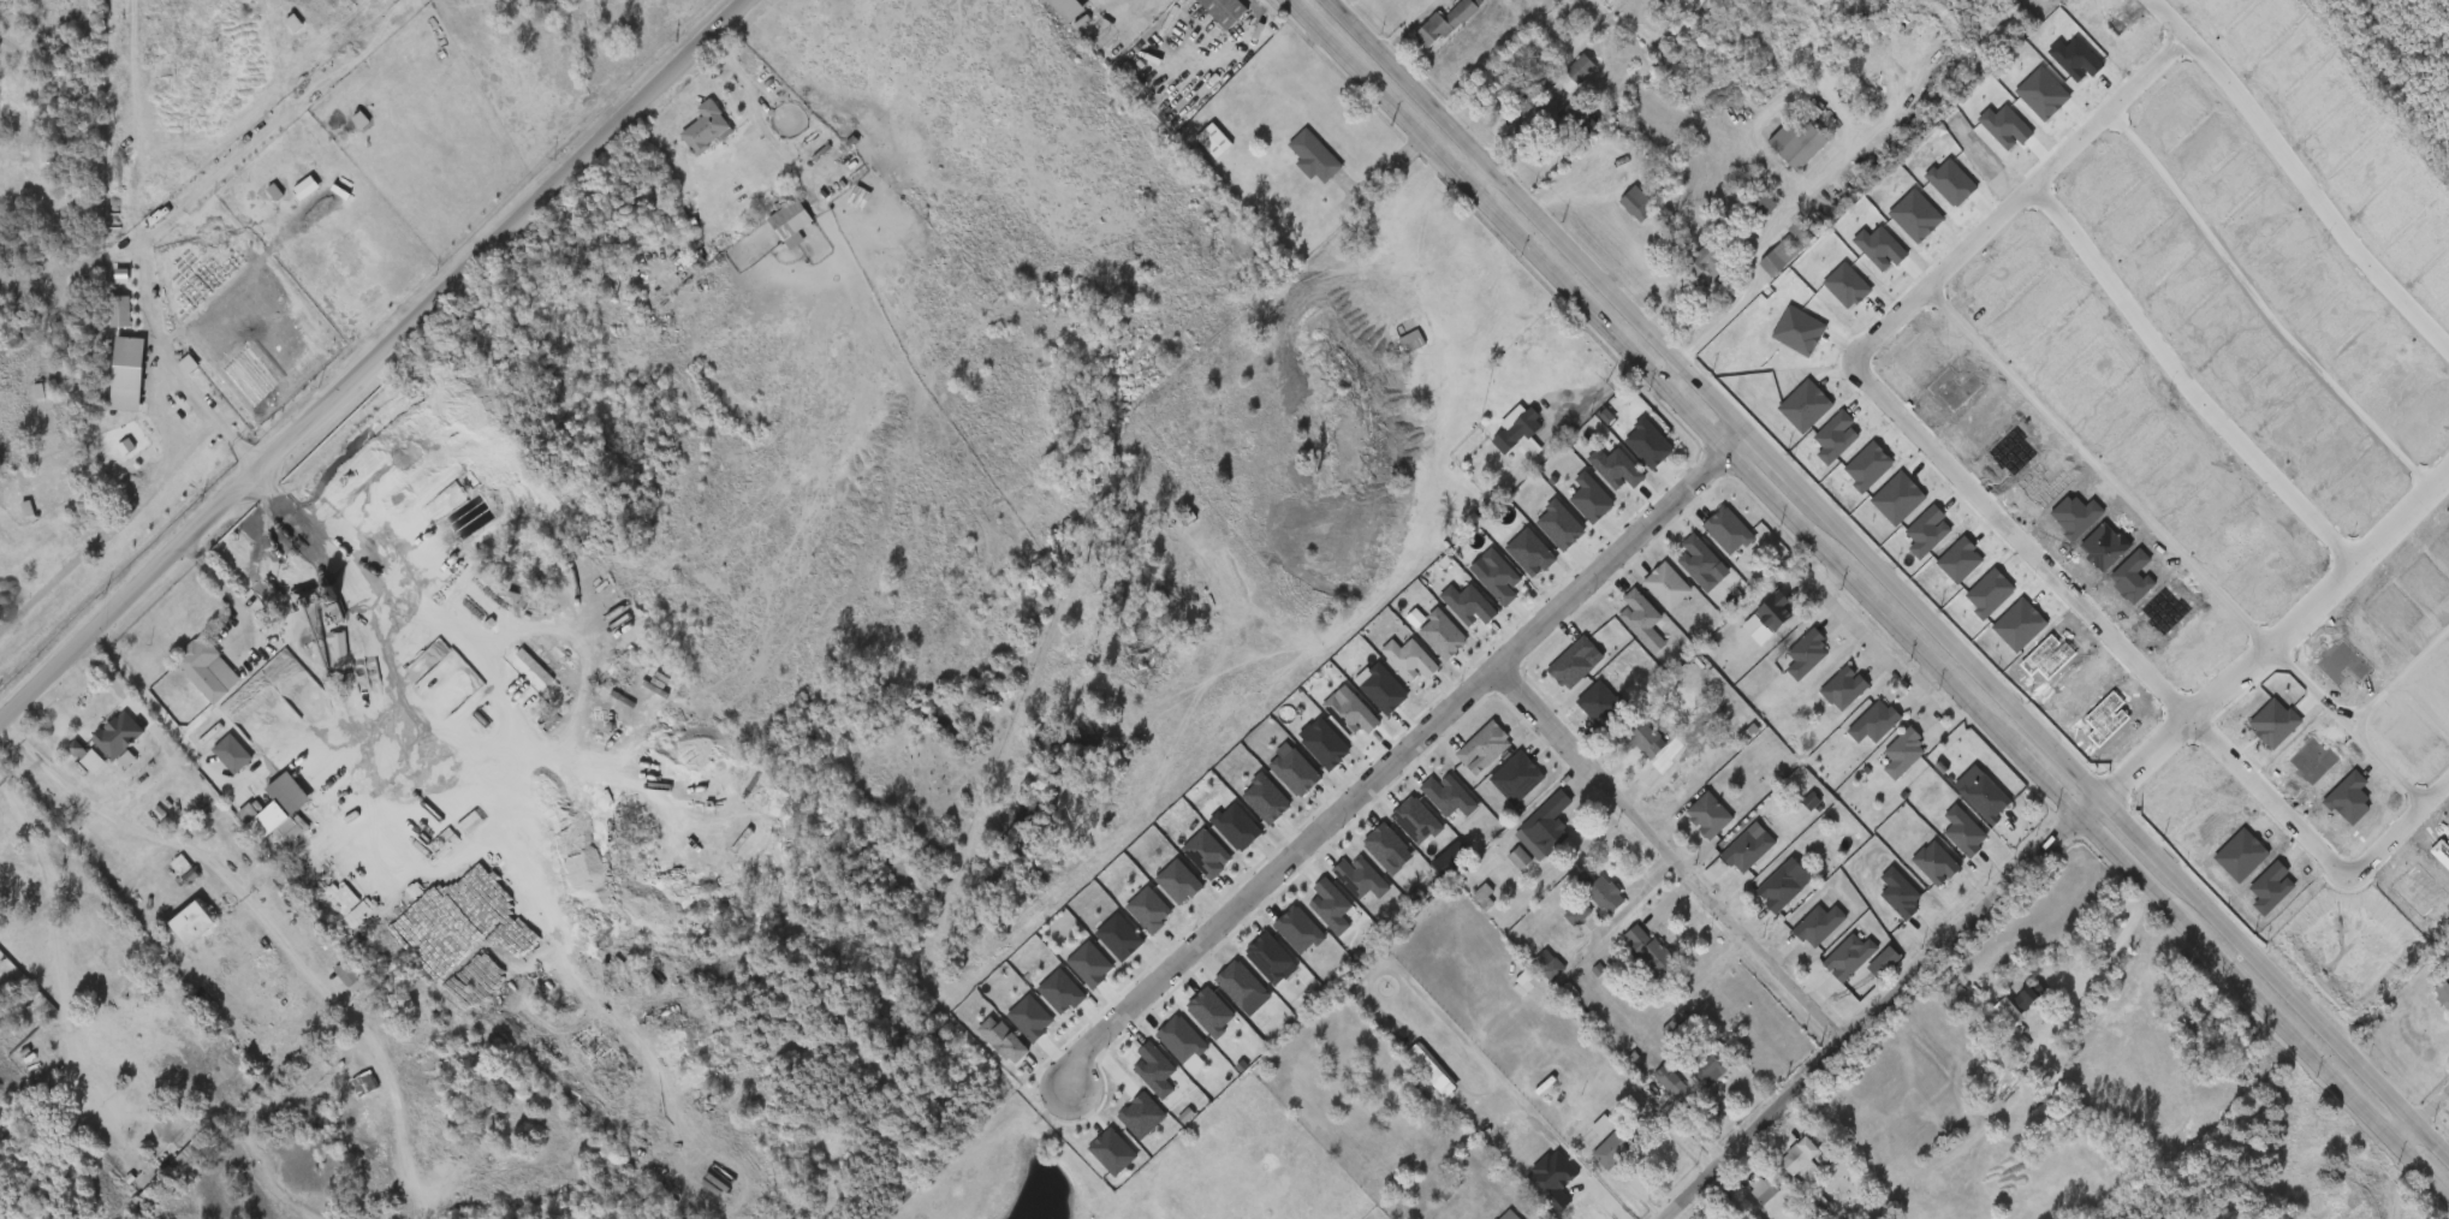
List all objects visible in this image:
road: (1112, 10)
building: (1228, 10)
building: (1077, 12)
building: (1199, 16)
building: (1045, 17)
building: (1446, 23)
building: (1586, 66)
building: (1539, 88)
building: (1582, 119)
building: (706, 127)
building: (684, 139)
building: (1217, 141)
building: (1794, 142)
building: (1191, 151)
building: (1314, 155)
building: (1292, 167)
road: (1830, 170)
road: (1475, 178)
building: (1761, 204)
building: (1637, 206)
building: (790, 220)
building: (768, 233)
road: (1984, 236)
building: (1790, 248)
building: (1710, 263)
building: (99, 321)
road: (373, 364)
road: (170, 375)
road: (1669, 379)
building: (106, 385)
road: (2185, 386)
road: (1594, 403)
building: (1520, 432)
building: (1647, 440)
road: (1750, 463)
building: (1615, 465)
building: (1589, 495)
building: (1558, 522)
building: (1726, 527)
building: (1529, 548)
building: (1698, 558)
building: (1497, 573)
road: (1886, 581)
building: (1665, 583)
road: (1865, 600)
road: (2318, 605)
road: (362, 609)
building: (1772, 609)
building: (1639, 613)
building: (1444, 624)
building: (1805, 653)
building: (1574, 660)
building: (209, 668)
building: (1387, 670)
building: (186, 679)
building: (1842, 688)
building: (1362, 700)
building: (1723, 708)
road: (160, 710)
building: (88, 712)
building: (1872, 721)
building: (1330, 725)
building: (119, 735)
building: (1649, 737)
building: (1484, 743)
building: (97, 745)
building: (1902, 753)
building: (233, 754)
building: (1303, 755)
building: (210, 763)
building: (65, 767)
road: (2147, 771)
road: (1385, 774)
building: (1515, 774)
building: (1272, 780)
building: (1446, 792)
building: (1984, 797)
road: (93, 798)
building: (280, 805)
building: (1244, 809)
building: (1706, 815)
building: (256, 817)
building: (1404, 822)
building: (1962, 831)
building: (1547, 833)
building: (1214, 837)
building: (1746, 850)
building: (1517, 855)
road: (1672, 855)
building: (1363, 857)
road: (2312, 858)
building: (1933, 862)
building: (1184, 863)
road: (54, 870)
building: (1339, 888)
building: (1778, 888)
building: (1605, 891)
building: (1157, 892)
building: (1897, 893)
building: (1484, 894)
building: (1309, 916)
building: (1128, 920)
building: (194, 922)
building: (1817, 924)
building: (171, 933)
building: (1277, 940)
building: (1098, 947)
building: (1649, 955)
building: (1844, 957)
building: (1547, 963)
building: (1248, 968)
building: (1069, 974)
building: (1526, 979)
building: (325, 983)
building: (1218, 994)
building: (2028, 994)
building: (2444, 994)
building: (1039, 1001)
road: (1879, 1007)
building: (1188, 1022)
building: (1009, 1028)
building: (1687, 1030)
building: (981, 1049)
building: (1159, 1049)
building: (1712, 1068)
building: (1133, 1080)
building: (1677, 1083)
road: (2433, 1113)
building: (1121, 1125)
road: (2402, 1136)
building: (1623, 1144)
building: (1795, 1155)
building: (1090, 1161)
building: (1551, 1178)
building: (1454, 1179)
road: (1579, 1183)
road: (1594, 1183)
building: (1765, 1194)
building: (1512, 1215)

